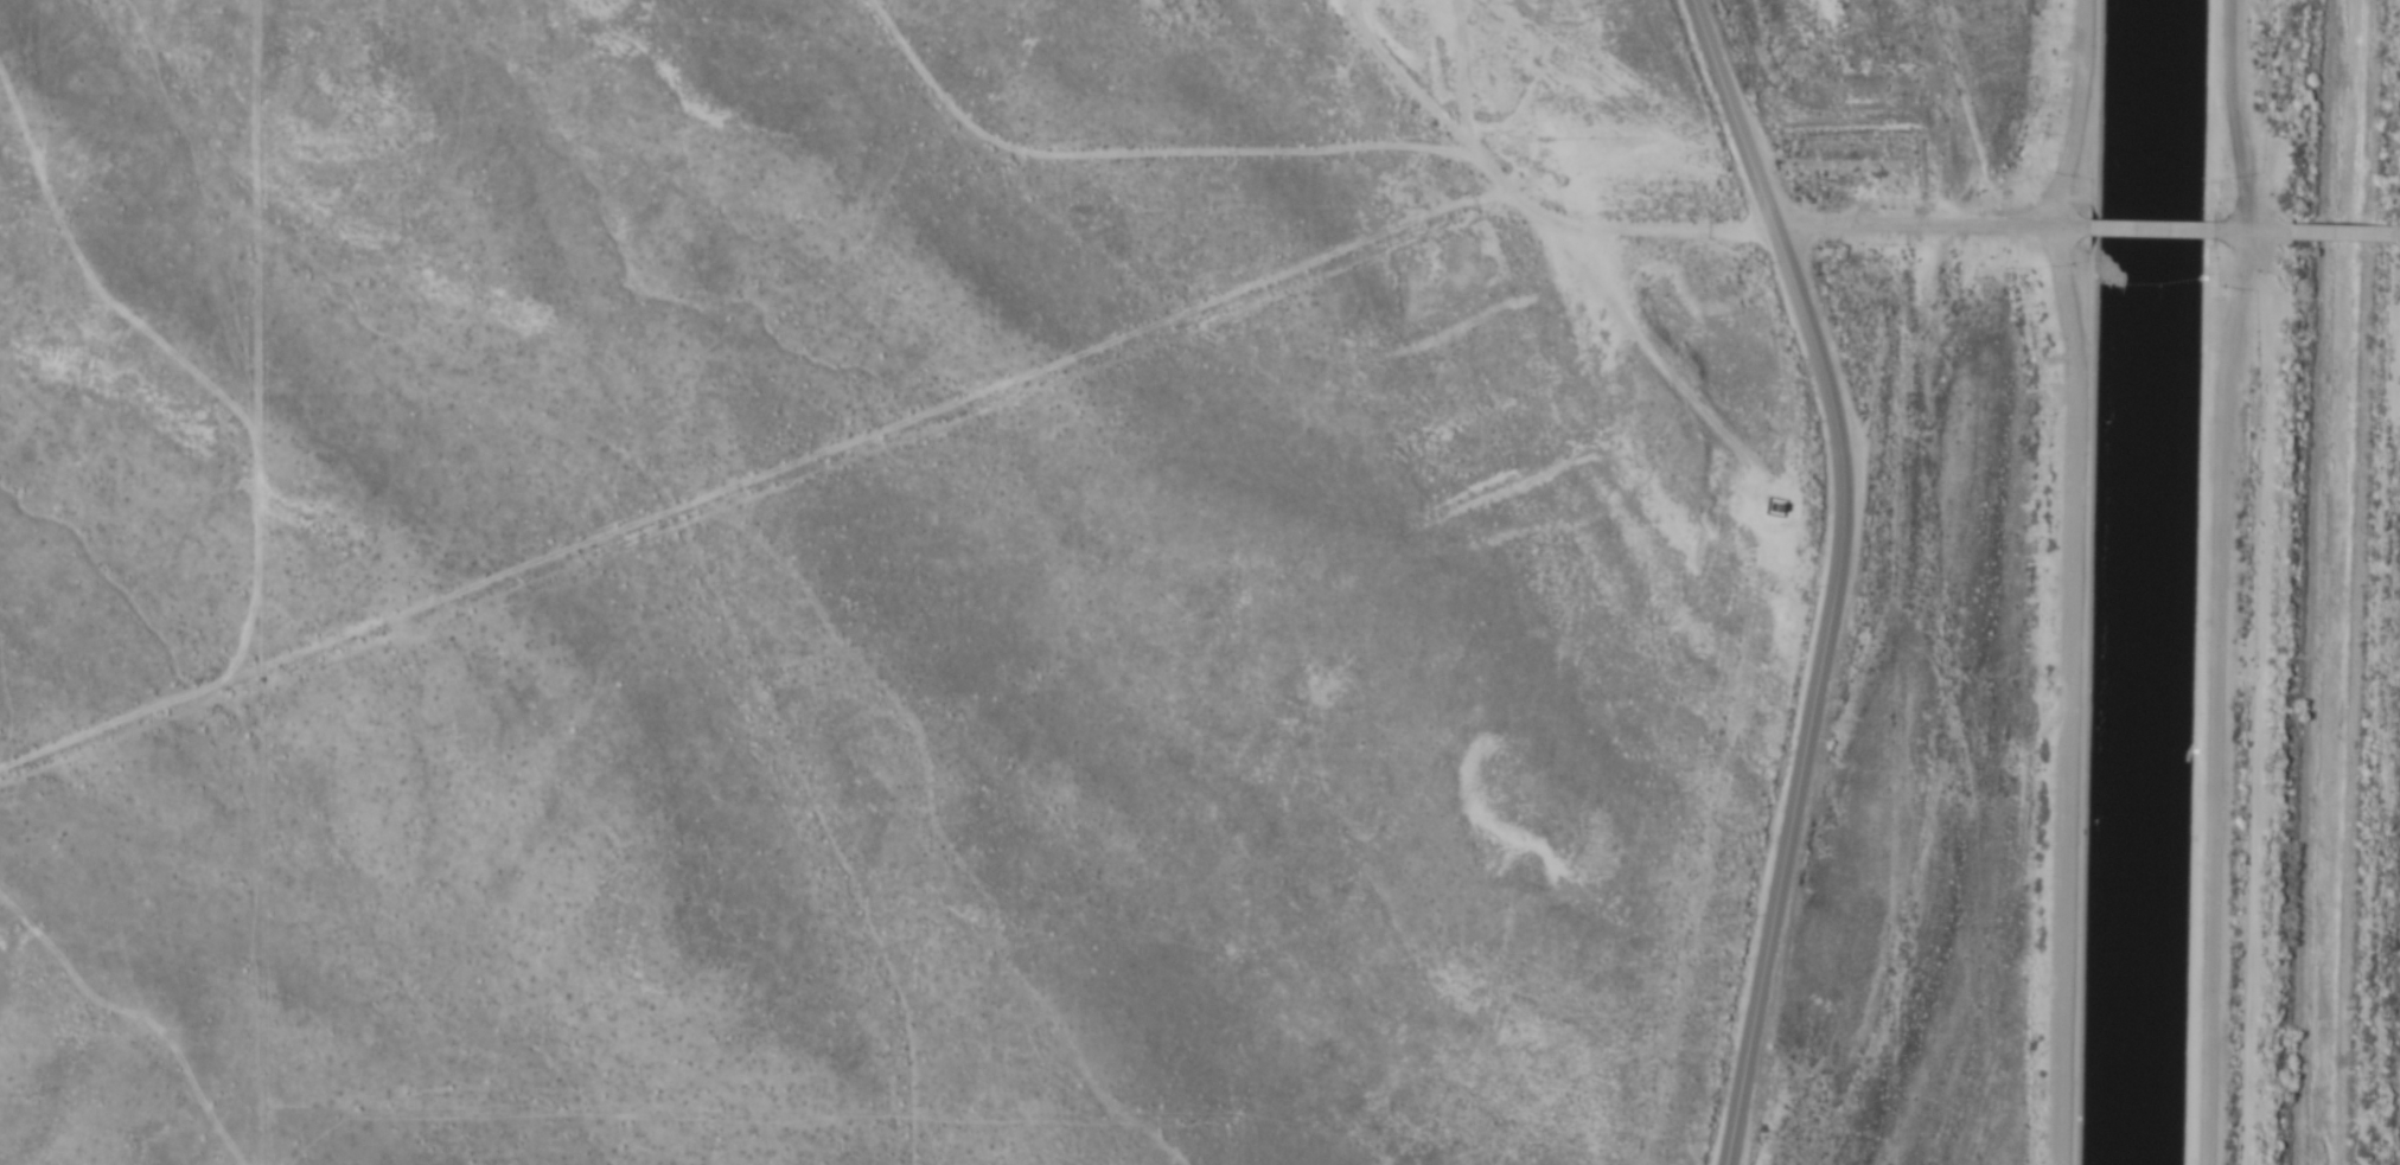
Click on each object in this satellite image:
road: (1832, 225)
road: (2151, 226)
road: (2251, 229)
road: (2337, 231)
road: (2393, 231)
road: (792, 463)
road: (1834, 575)
road: (2074, 580)
road: (2219, 580)
crop: (857, 581)

